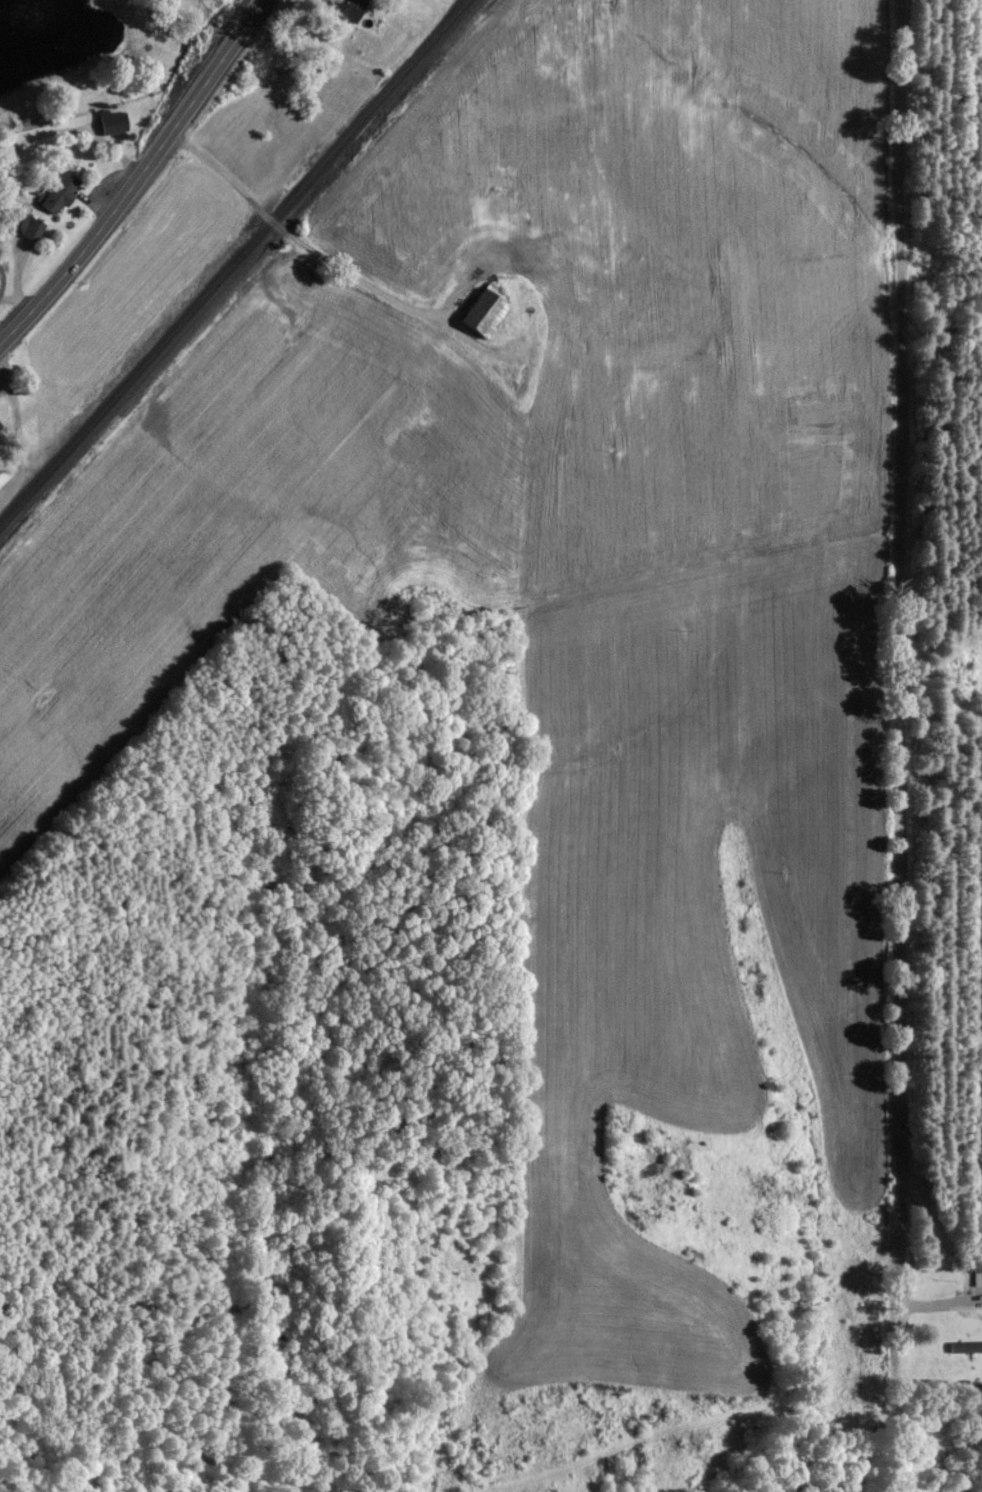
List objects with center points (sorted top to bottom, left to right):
building: (343, 7)
building: (110, 120)
road: (7, 137)
road: (13, 147)
road: (139, 177)
building: (418, 190)
building: (56, 191)
building: (31, 228)
road: (326, 253)
railway: (234, 263)
road: (0, 273)
road: (19, 296)
building: (479, 312)
building: (2, 473)
road: (901, 644)
building: (962, 1319)

